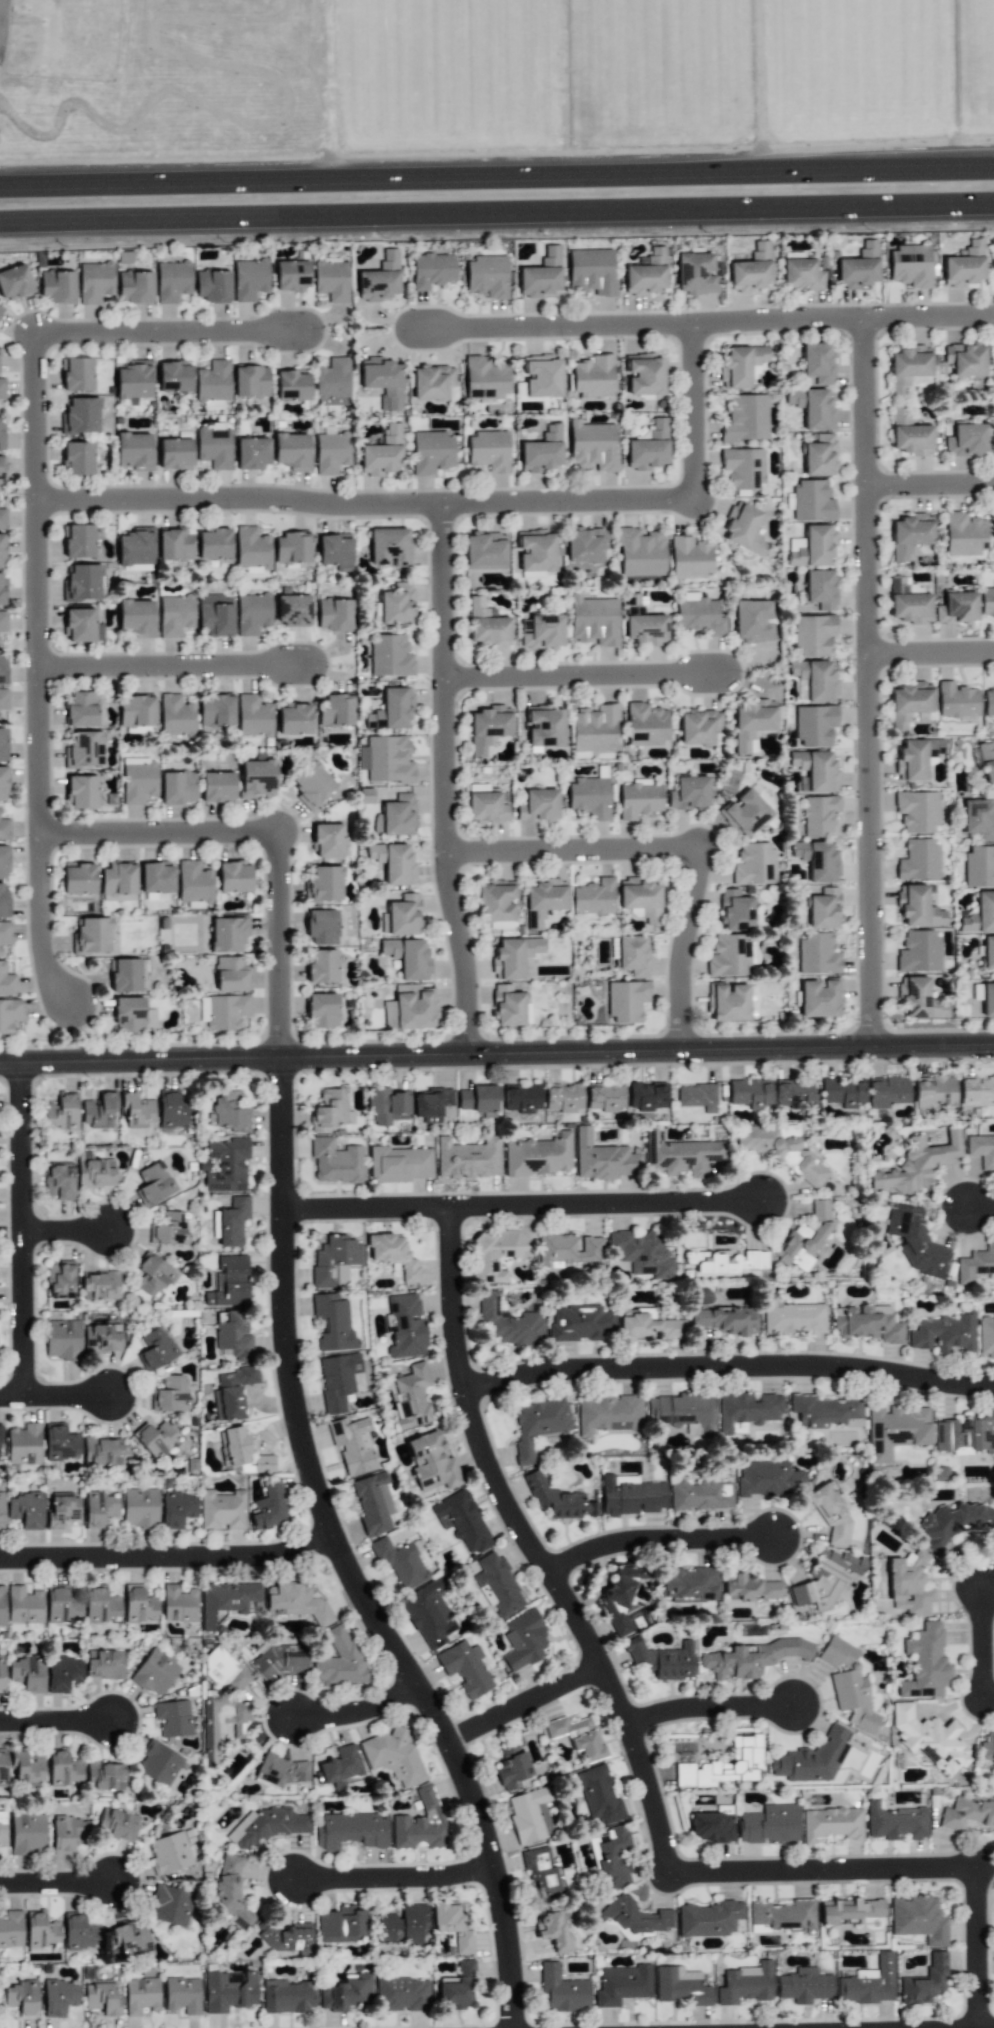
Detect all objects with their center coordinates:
crop: (653, 101)
road: (496, 180)
road: (497, 209)
building: (910, 266)
building: (965, 266)
building: (859, 268)
building: (751, 269)
building: (432, 270)
building: (591, 272)
building: (695, 273)
building: (645, 274)
building: (801, 274)
building: (291, 275)
building: (541, 275)
building: (487, 276)
building: (250, 279)
building: (331, 279)
building: (379, 279)
building: (172, 281)
building: (14, 282)
building: (95, 282)
building: (57, 286)
building: (212, 286)
building: (135, 287)
building: (0, 309)
road: (930, 319)
road: (641, 326)
road: (174, 338)
building: (965, 359)
building: (817, 362)
building: (740, 365)
building: (909, 368)
building: (76, 374)
building: (644, 374)
building: (541, 376)
building: (593, 376)
building: (174, 377)
building: (486, 377)
building: (382, 380)
building: (132, 381)
building: (251, 381)
building: (332, 382)
building: (431, 382)
building: (213, 383)
building: (292, 385)
building: (2, 388)
building: (812, 407)
road: (696, 413)
building: (80, 416)
building: (745, 419)
building: (1, 434)
building: (909, 435)
building: (967, 440)
building: (592, 446)
building: (214, 447)
building: (648, 448)
building: (489, 450)
building: (134, 451)
building: (292, 451)
building: (542, 451)
building: (331, 452)
building: (431, 452)
building: (175, 453)
building: (252, 453)
building: (382, 453)
building: (819, 456)
building: (77, 458)
building: (743, 467)
building: (2, 468)
road: (931, 487)
building: (812, 501)
road: (368, 507)
building: (2, 519)
building: (743, 528)
building: (963, 534)
building: (909, 535)
building: (78, 541)
building: (214, 544)
building: (585, 544)
building: (175, 545)
building: (812, 546)
building: (135, 547)
building: (390, 547)
building: (292, 548)
building: (252, 550)
building: (2, 551)
building: (335, 551)
building: (485, 551)
building: (536, 551)
building: (640, 553)
building: (689, 557)
building: (82, 583)
building: (820, 588)
building: (2, 589)
building: (987, 601)
building: (908, 602)
building: (396, 604)
building: (956, 608)
building: (293, 610)
building: (253, 613)
building: (334, 614)
building: (175, 615)
building: (215, 615)
building: (698, 615)
building: (136, 617)
building: (594, 620)
building: (3, 621)
building: (753, 621)
building: (487, 625)
building: (82, 626)
building: (646, 629)
building: (541, 632)
building: (813, 635)
road: (932, 655)
building: (390, 656)
building: (2, 667)
road: (177, 671)
road: (42, 677)
road: (585, 677)
building: (815, 679)
road: (870, 684)
building: (3, 699)
building: (957, 700)
building: (909, 702)
building: (988, 702)
building: (81, 709)
building: (391, 709)
building: (216, 710)
building: (335, 710)
building: (135, 712)
building: (176, 716)
building: (253, 716)
building: (294, 719)
building: (752, 722)
building: (646, 724)
building: (814, 725)
building: (545, 726)
building: (698, 726)
building: (488, 727)
building: (594, 728)
building: (3, 744)
building: (84, 750)
building: (914, 758)
building: (386, 760)
building: (987, 761)
building: (816, 769)
building: (257, 778)
building: (138, 780)
building: (4, 783)
road: (447, 783)
building: (312, 785)
building: (217, 786)
building: (177, 787)
building: (480, 788)
building: (81, 792)
building: (689, 793)
building: (761, 795)
building: (588, 798)
building: (639, 800)
building: (538, 806)
building: (486, 808)
building: (917, 811)
building: (744, 813)
building: (819, 815)
building: (395, 816)
building: (979, 819)
building: (4, 829)
road: (163, 839)
building: (327, 840)
road: (576, 852)
building: (818, 860)
building: (918, 860)
building: (4, 862)
building: (393, 862)
building: (754, 864)
building: (979, 867)
building: (78, 877)
building: (156, 877)
building: (234, 877)
building: (118, 880)
building: (324, 884)
building: (194, 885)
building: (593, 897)
building: (641, 899)
building: (4, 900)
building: (495, 900)
building: (544, 900)
building: (917, 907)
building: (824, 909)
building: (735, 911)
building: (980, 914)
building: (401, 916)
building: (322, 927)
building: (228, 934)
building: (4, 936)
building: (91, 936)
road: (687, 951)
building: (918, 951)
building: (987, 952)
building: (817, 954)
building: (633, 955)
building: (514, 956)
building: (728, 956)
building: (408, 958)
building: (322, 966)
building: (230, 974)
building: (125, 975)
building: (6, 981)
building: (820, 997)
building: (919, 999)
building: (988, 999)
building: (626, 1001)
building: (728, 1002)
building: (510, 1007)
building: (409, 1008)
building: (322, 1010)
building: (223, 1011)
building: (9, 1014)
building: (133, 1015)
road: (497, 1058)
building: (888, 1091)
building: (935, 1091)
building: (977, 1091)
building: (842, 1092)
building: (750, 1093)
building: (795, 1095)
building: (605, 1096)
building: (646, 1096)
building: (697, 1096)
building: (521, 1097)
building: (563, 1097)
building: (478, 1099)
building: (386, 1104)
building: (431, 1104)
building: (173, 1109)
building: (137, 1110)
building: (329, 1110)
building: (62, 1112)
building: (98, 1112)
building: (230, 1112)
building: (981, 1150)
building: (781, 1152)
building: (538, 1156)
building: (683, 1156)
building: (468, 1158)
building: (603, 1158)
building: (335, 1161)
building: (400, 1164)
building: (225, 1165)
building: (918, 1165)
building: (95, 1173)
building: (59, 1180)
building: (154, 1184)
road: (986, 1204)
road: (529, 1206)
building: (232, 1221)
building: (214, 1224)
building: (170, 1229)
road: (24, 1230)
road: (67, 1230)
building: (915, 1242)
building: (569, 1250)
building: (642, 1253)
building: (392, 1254)
building: (496, 1254)
building: (334, 1261)
building: (729, 1261)
building: (975, 1265)
building: (153, 1276)
building: (60, 1280)
building: (229, 1282)
building: (100, 1285)
building: (792, 1318)
building: (725, 1320)
building: (333, 1322)
building: (510, 1323)
building: (580, 1323)
building: (867, 1323)
building: (405, 1326)
building: (649, 1327)
building: (944, 1333)
building: (233, 1335)
building: (986, 1336)
building: (102, 1338)
building: (62, 1339)
building: (155, 1349)
road: (730, 1363)
building: (337, 1380)
building: (232, 1392)
building: (170, 1394)
road: (56, 1396)
building: (747, 1411)
building: (825, 1411)
building: (683, 1412)
building: (607, 1414)
building: (538, 1424)
building: (896, 1430)
building: (0, 1436)
building: (965, 1436)
building: (155, 1438)
building: (60, 1442)
building: (24, 1444)
building: (353, 1444)
building: (233, 1446)
building: (102, 1451)
road: (311, 1453)
building: (431, 1462)
building: (263, 1463)
building: (769, 1478)
building: (631, 1495)
building: (700, 1496)
building: (558, 1499)
building: (373, 1503)
building: (140, 1507)
building: (269, 1507)
building: (99, 1509)
building: (177, 1509)
building: (26, 1510)
building: (62, 1510)
building: (222, 1510)
building: (1, 1512)
building: (830, 1513)
building: (462, 1521)
building: (953, 1523)
road: (666, 1540)
road: (539, 1548)
road: (170, 1549)
building: (401, 1564)
building: (825, 1578)
building: (687, 1583)
building: (909, 1584)
building: (498, 1586)
building: (751, 1587)
building: (620, 1597)
building: (227, 1600)
building: (296, 1602)
building: (61, 1603)
building: (139, 1604)
building: (179, 1604)
building: (24, 1605)
building: (100, 1606)
building: (2, 1607)
building: (428, 1615)
building: (524, 1640)
road: (990, 1645)
building: (751, 1658)
building: (338, 1659)
building: (283, 1660)
building: (662, 1660)
building: (924, 1663)
building: (104, 1664)
building: (465, 1668)
building: (27, 1673)
building: (63, 1673)
building: (155, 1673)
building: (1, 1674)
building: (849, 1685)
building: (222, 1702)
road: (529, 1704)
road: (718, 1706)
road: (361, 1713)
building: (173, 1718)
road: (56, 1722)
building: (578, 1736)
building: (929, 1739)
building: (987, 1750)
building: (393, 1756)
building: (812, 1758)
building: (158, 1763)
building: (340, 1765)
building: (724, 1765)
building: (2, 1766)
building: (512, 1766)
building: (27, 1768)
building: (64, 1769)
building: (282, 1770)
building: (105, 1776)
building: (599, 1796)
building: (966, 1812)
building: (530, 1815)
building: (895, 1823)
building: (116, 1824)
building: (420, 1824)
building: (831, 1824)
building: (770, 1825)
building: (267, 1826)
building: (2, 1827)
building: (711, 1827)
building: (349, 1830)
building: (27, 1834)
building: (67, 1834)
building: (169, 1853)
building: (612, 1857)
road: (399, 1871)
building: (542, 1871)
road: (826, 1871)
road: (56, 1884)
building: (231, 1892)
building: (170, 1905)
building: (849, 1910)
building: (783, 1914)
building: (633, 1917)
building: (709, 1918)
building: (919, 1919)
building: (453, 1924)
building: (342, 1925)
building: (402, 1925)
building: (11, 1929)
building: (40, 1930)
building: (79, 1932)
building: (553, 1932)
building: (285, 1937)
building: (131, 1940)
road: (975, 1948)
building: (926, 1981)
building: (869, 1982)
building: (622, 1984)
building: (746, 1984)
building: (680, 1986)
building: (804, 1986)
building: (458, 1988)
building: (562, 1990)
building: (229, 1991)
building: (346, 1993)
building: (403, 1994)
building: (141, 1995)
building: (182, 1995)
building: (59, 1996)
building: (286, 1996)
building: (21, 1997)
building: (102, 1998)

